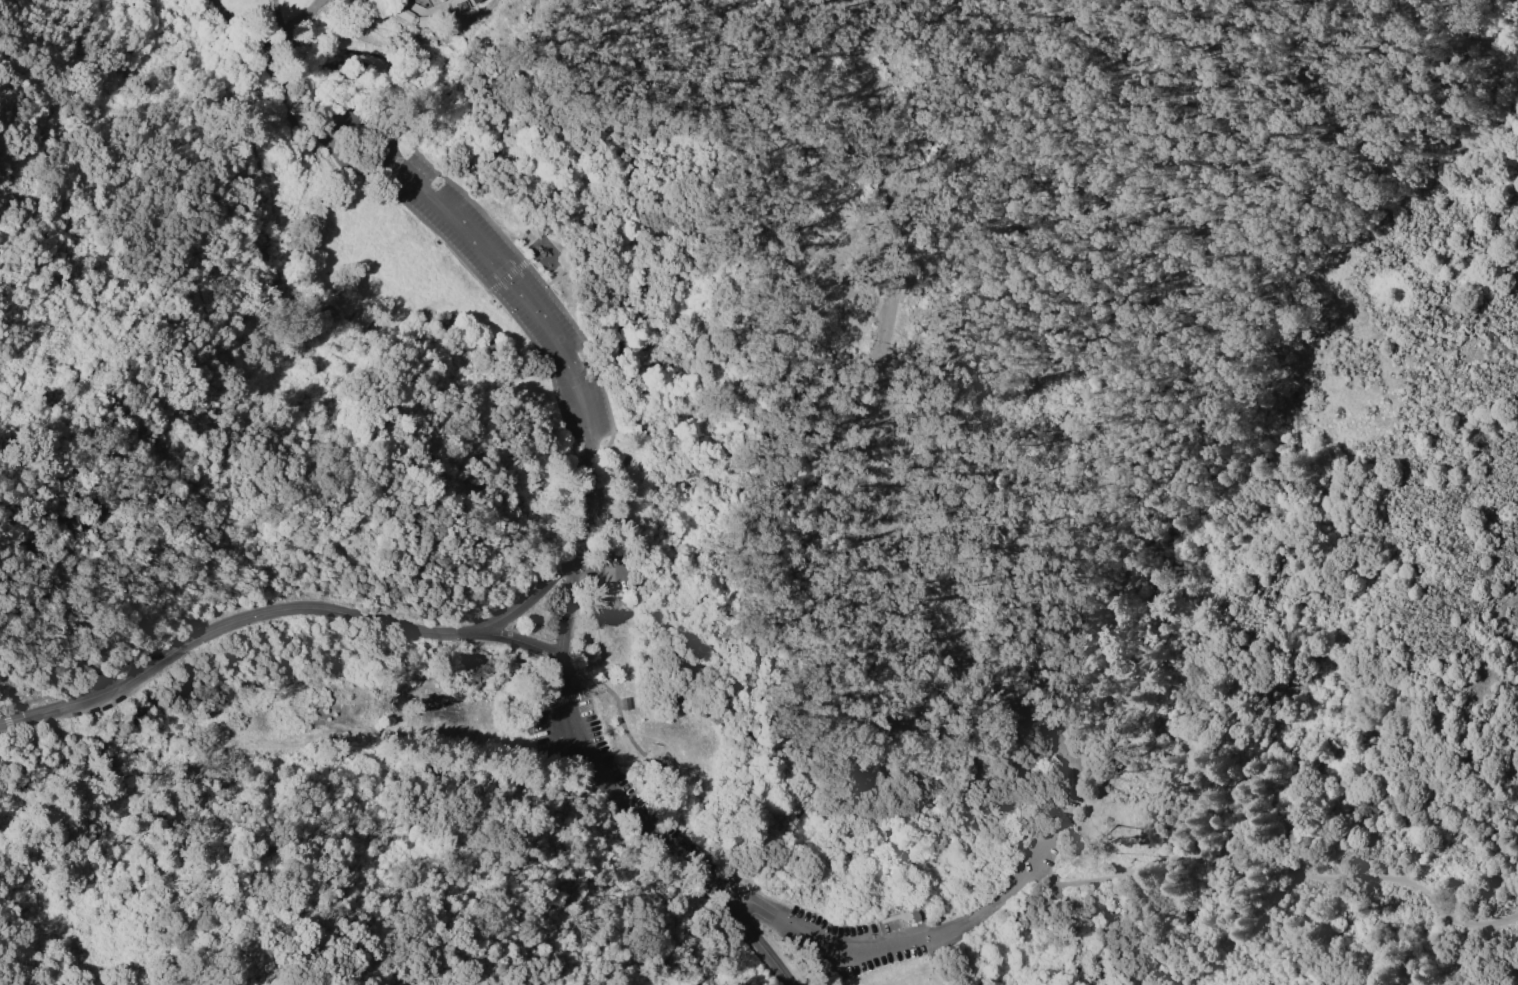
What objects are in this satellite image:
road: (385, 2)
road: (426, 14)
road: (277, 18)
road: (301, 18)
road: (225, 24)
road: (363, 29)
road: (375, 39)
road: (282, 48)
road: (252, 55)
road: (141, 59)
road: (316, 63)
road: (295, 103)
road: (339, 131)
road: (885, 167)
road: (63, 174)
parking lot: (499, 281)
road: (516, 286)
parking lot: (870, 376)
road: (318, 427)
road: (586, 504)
road: (603, 570)
parking lot: (612, 573)
road: (1260, 591)
road: (532, 595)
road: (231, 626)
road: (595, 628)
road: (521, 641)
road: (943, 645)
road: (594, 683)
road: (588, 695)
road: (565, 699)
road: (620, 717)
road: (617, 795)
parking lot: (639, 818)
road: (1274, 863)
road: (990, 908)
road: (1088, 908)
road: (1135, 926)
road: (854, 952)
road: (1159, 960)
road: (938, 962)
road: (321, 967)

